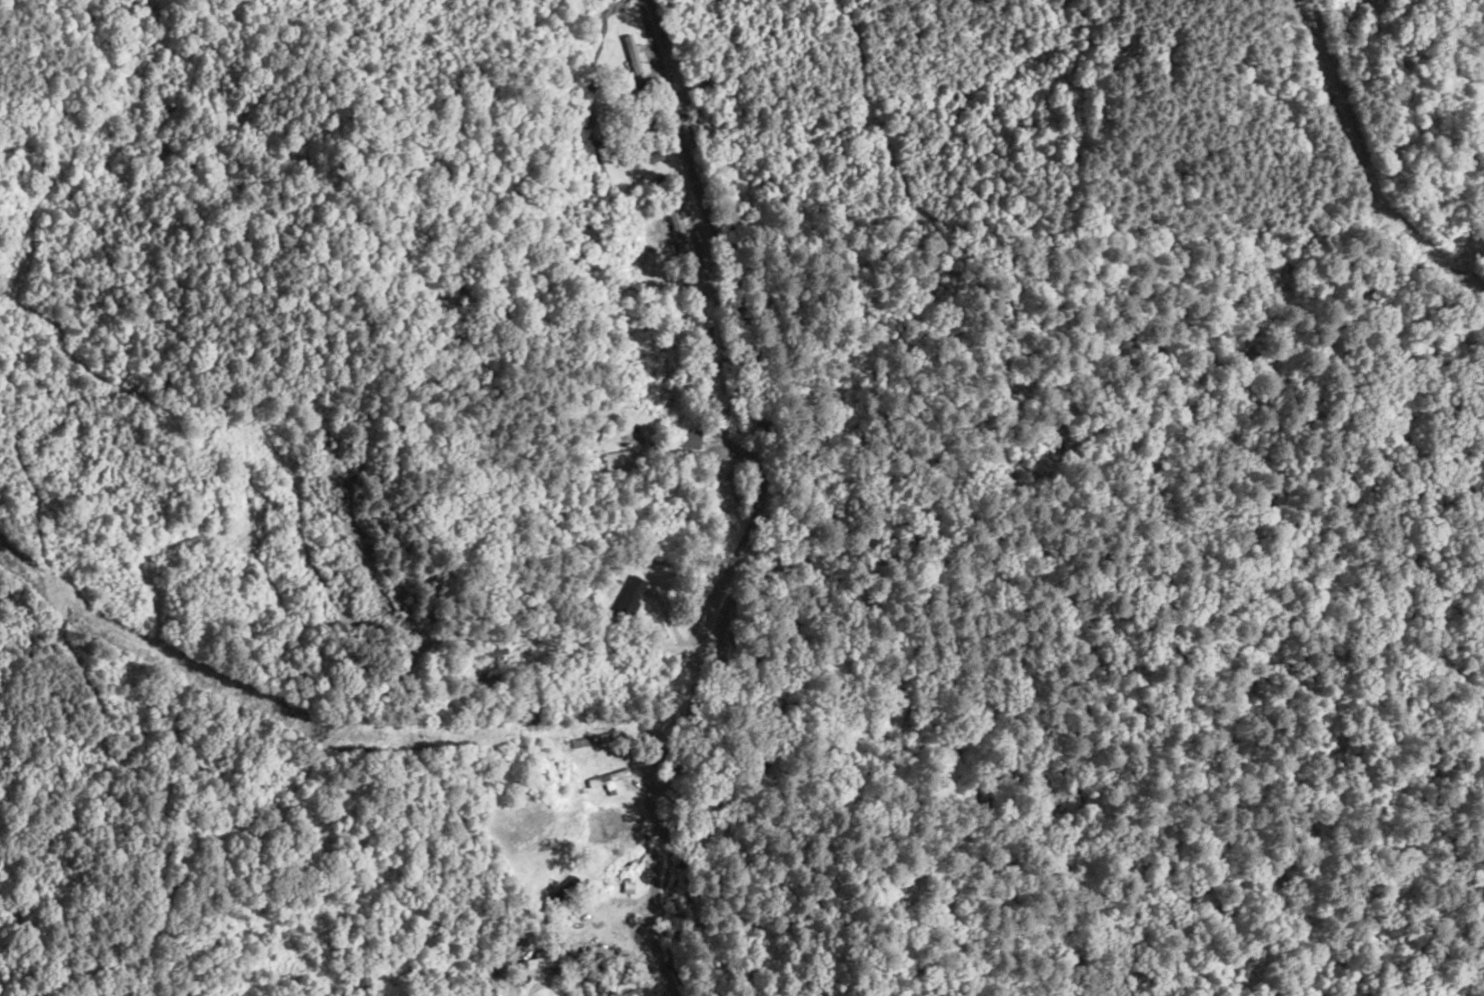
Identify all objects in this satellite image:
building: (631, 54)
building: (656, 157)
building: (679, 233)
road: (15, 346)
road: (365, 374)
building: (690, 436)
building: (321, 447)
building: (618, 461)
road: (708, 483)
building: (627, 596)
building: (491, 653)
building: (527, 718)
building: (366, 736)
building: (604, 776)
road: (43, 777)
building: (274, 783)
building: (599, 840)
building: (603, 988)
building: (631, 993)

